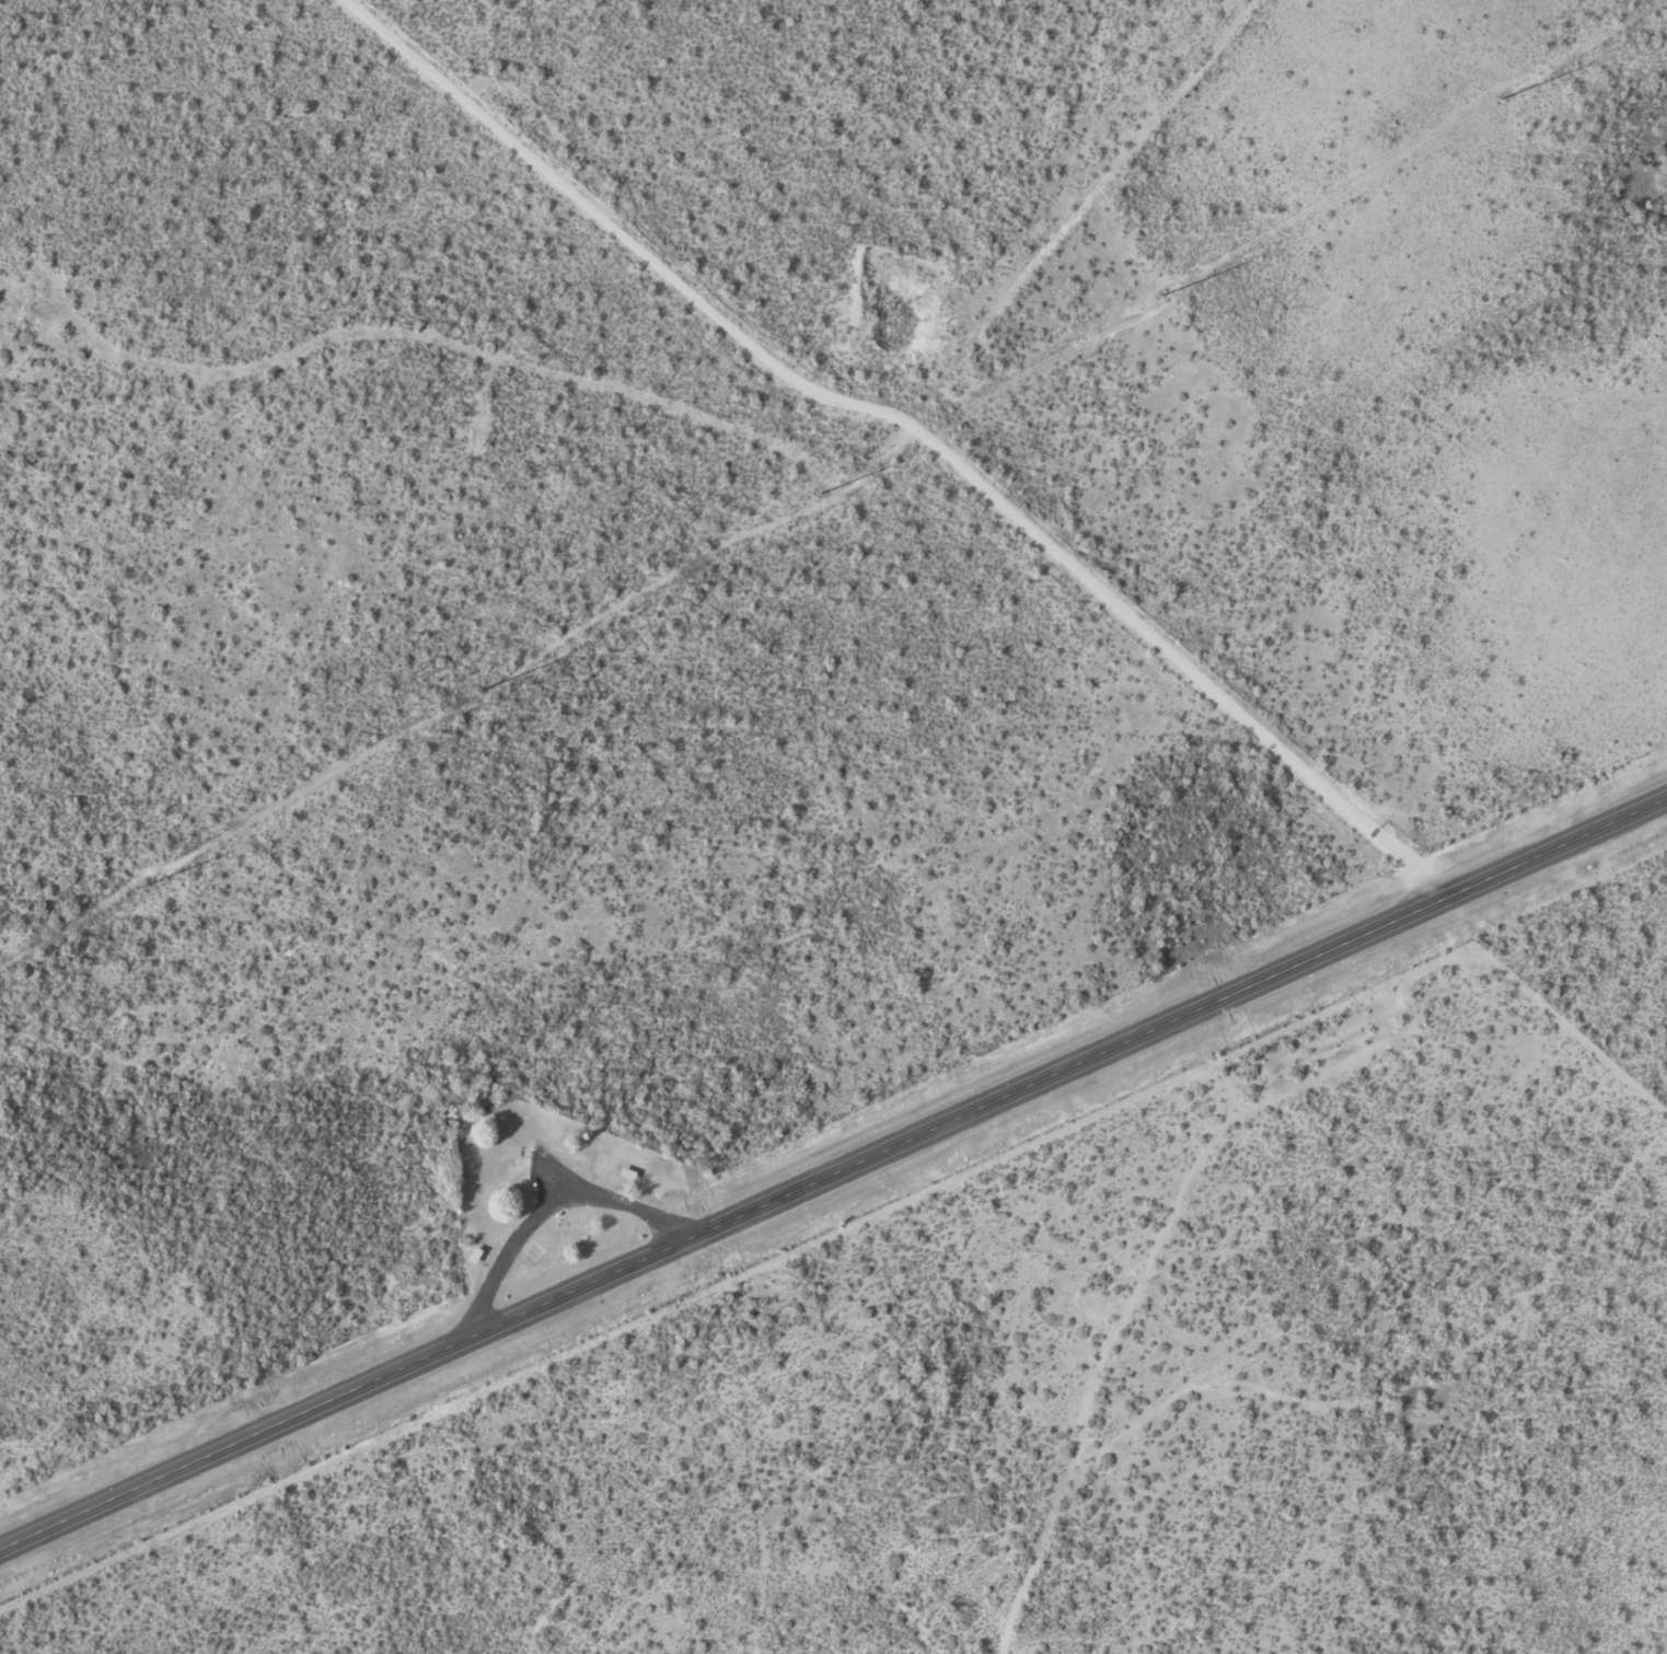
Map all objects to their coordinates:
power tower: (1498, 100)
power tower: (1161, 292)
power tower: (821, 493)
power tower: (479, 690)
power tower: (142, 888)
road: (497, 1110)
road: (834, 1177)

